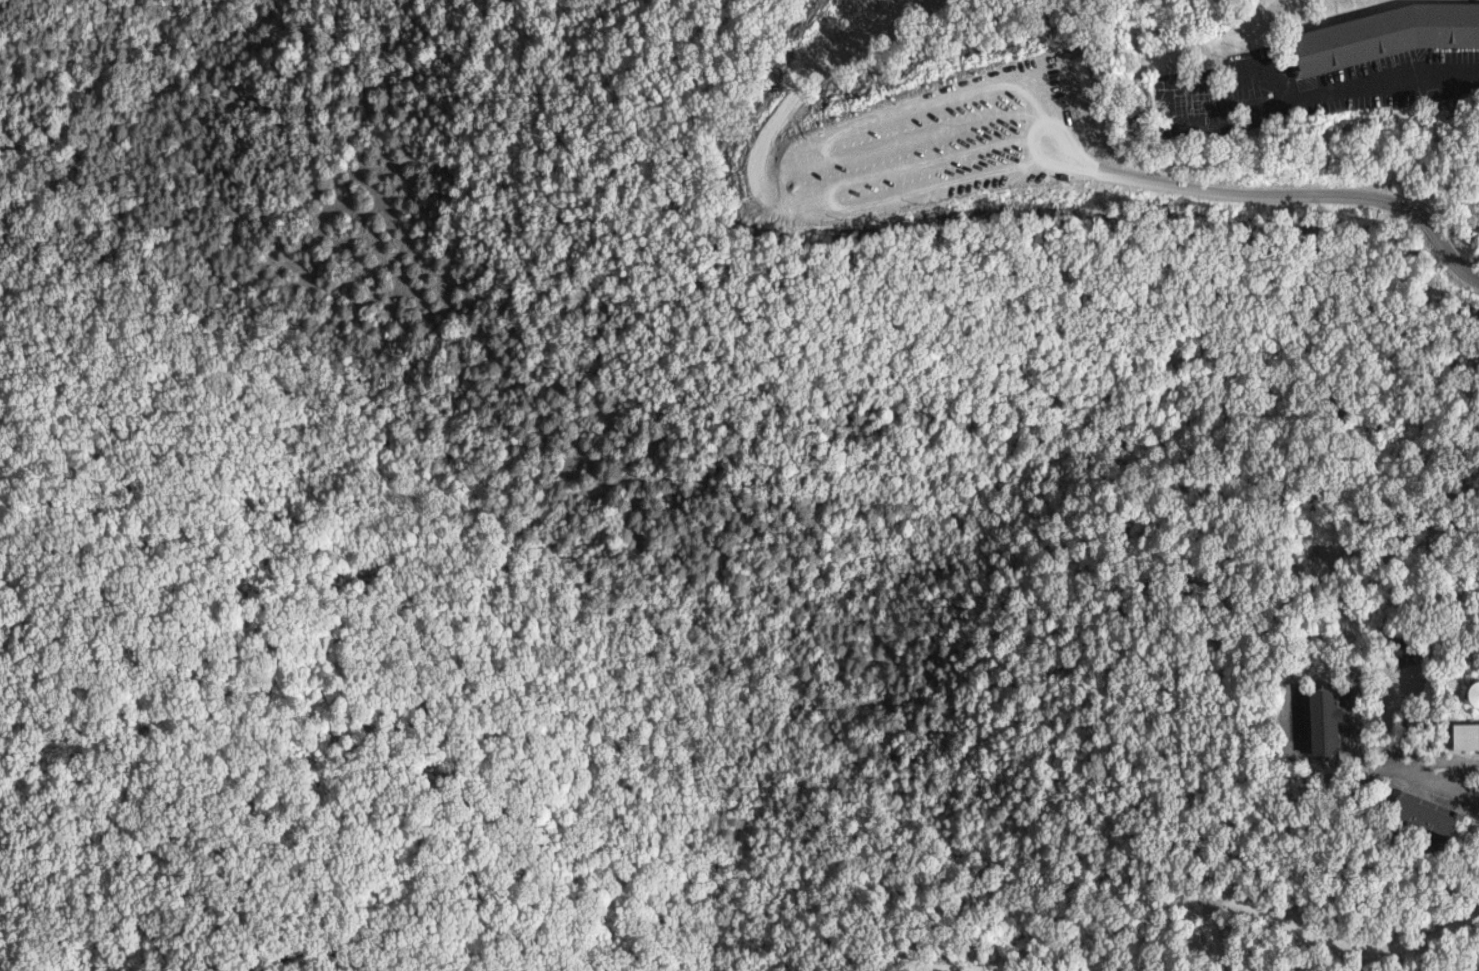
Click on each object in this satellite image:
building: (1386, 32)
road: (1404, 77)
road: (1297, 202)
road: (1294, 680)
building: (1472, 692)
storage tank: (1474, 693)
building: (1320, 720)
building: (1465, 736)
road: (1440, 761)
road: (1418, 777)
building: (1422, 813)
theme park: (1431, 960)

